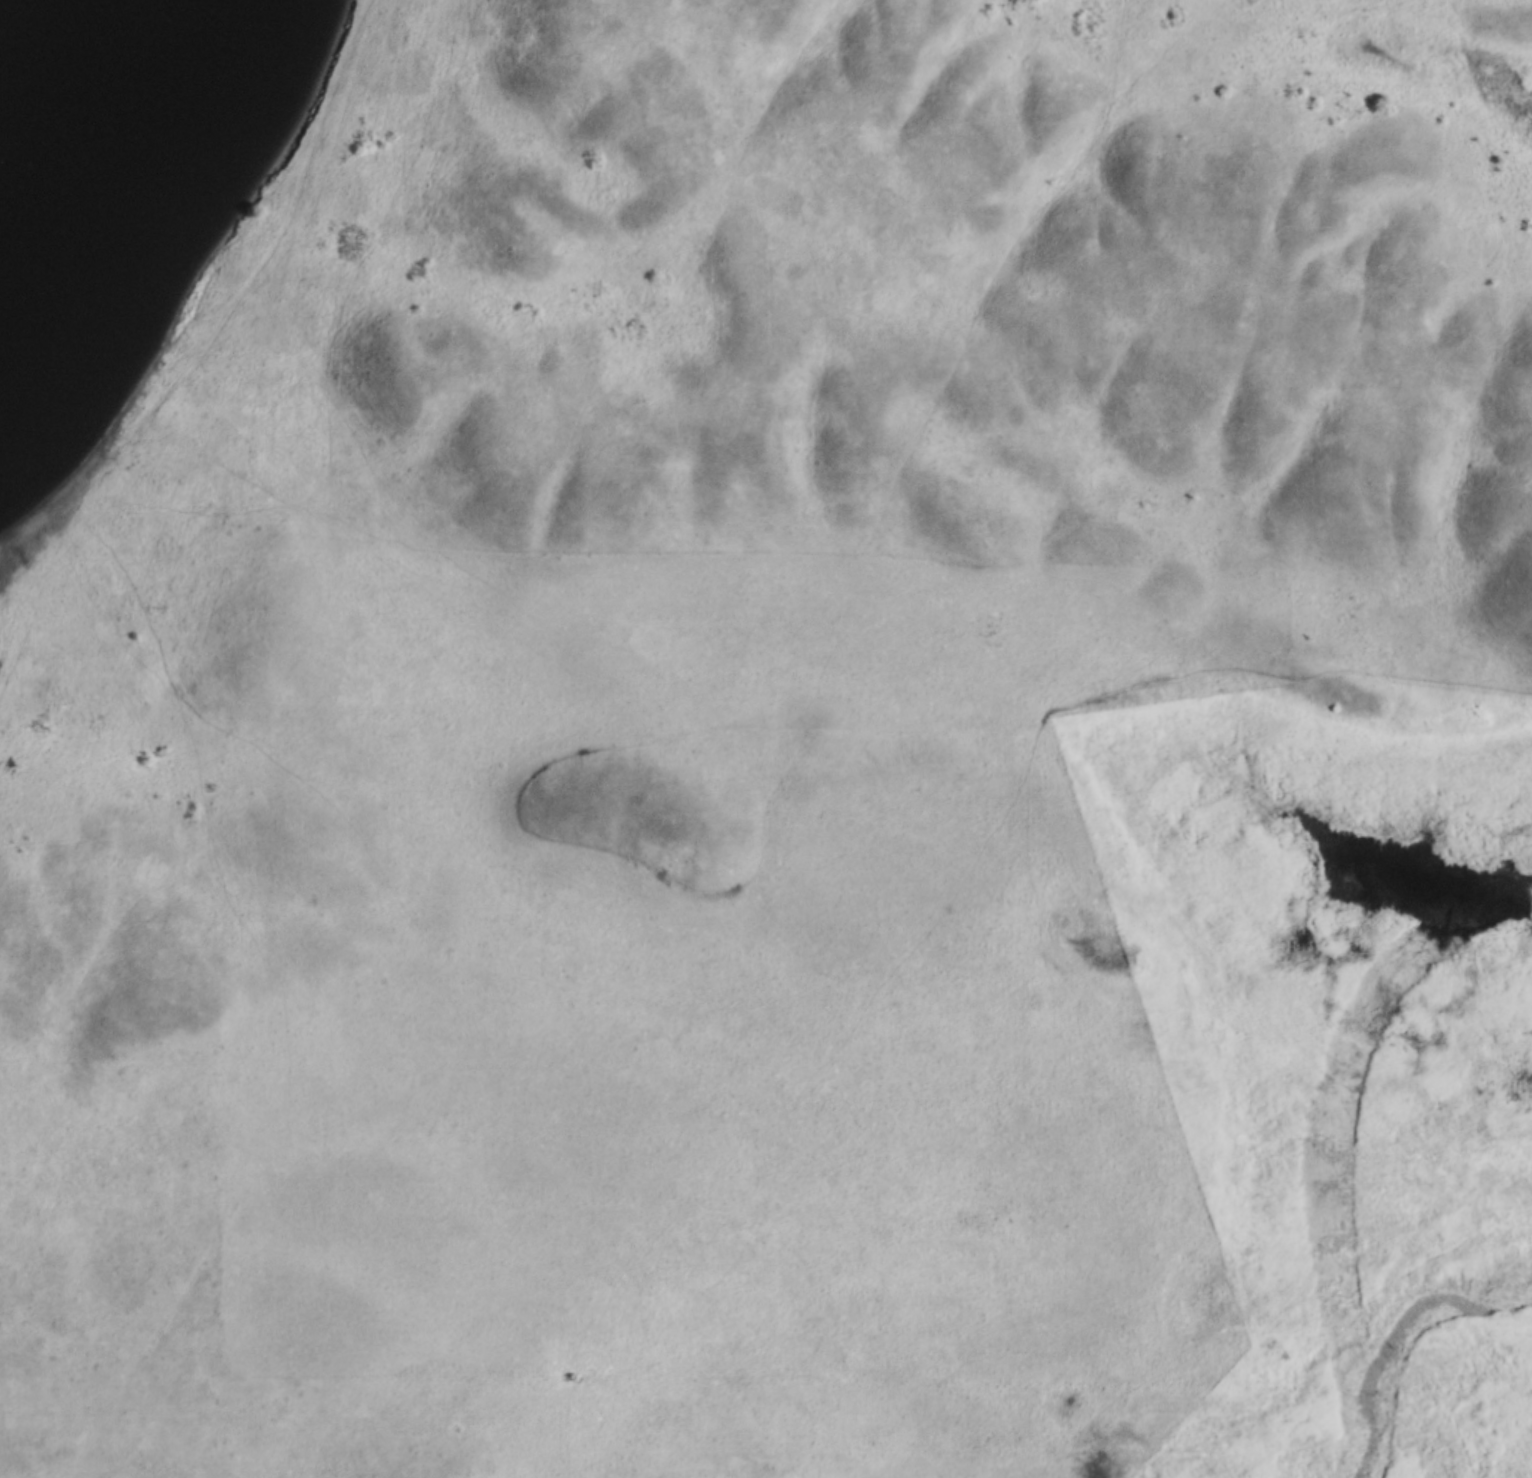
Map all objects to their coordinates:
river: (1409, 1347)

